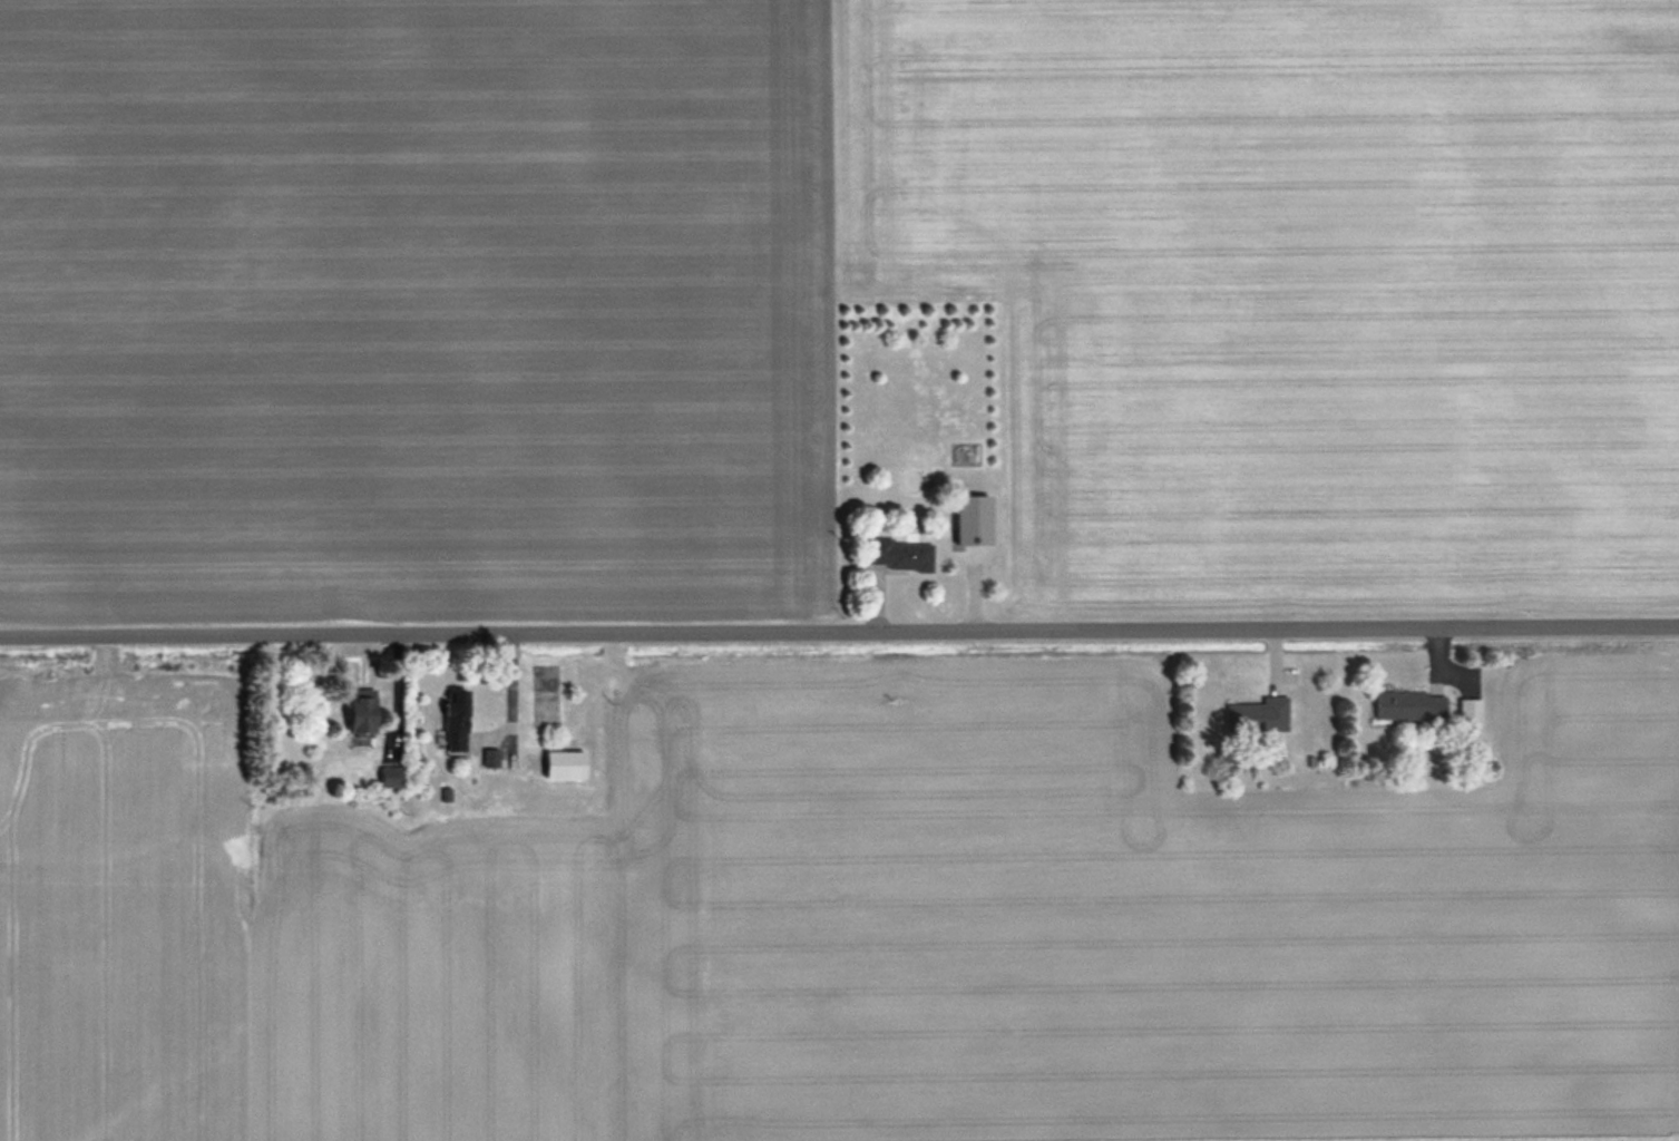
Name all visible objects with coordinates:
building: (973, 520)
building: (901, 554)
road: (839, 638)
building: (1409, 704)
building: (1470, 711)
building: (362, 714)
building: (1257, 714)
building: (456, 722)
building: (388, 777)

